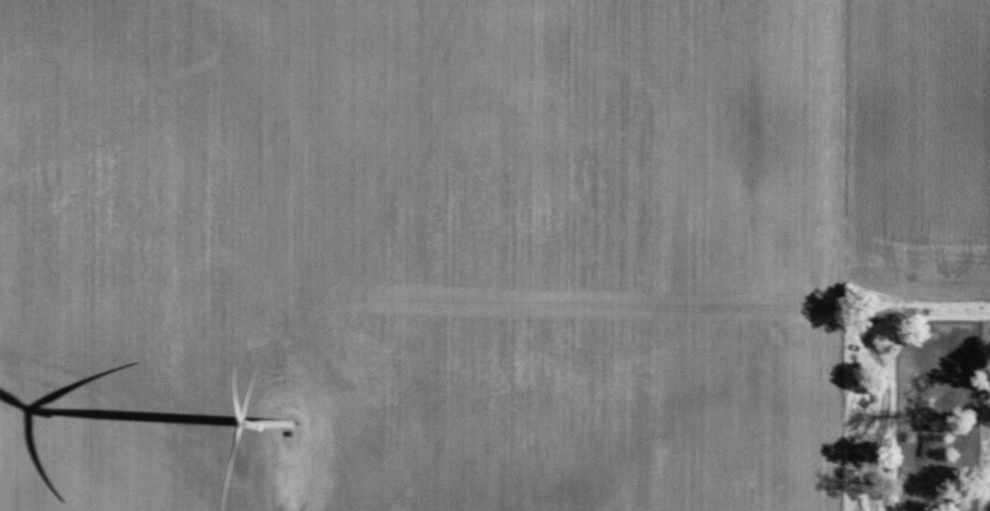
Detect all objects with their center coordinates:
wind turbine: (287, 422)
building: (920, 466)

